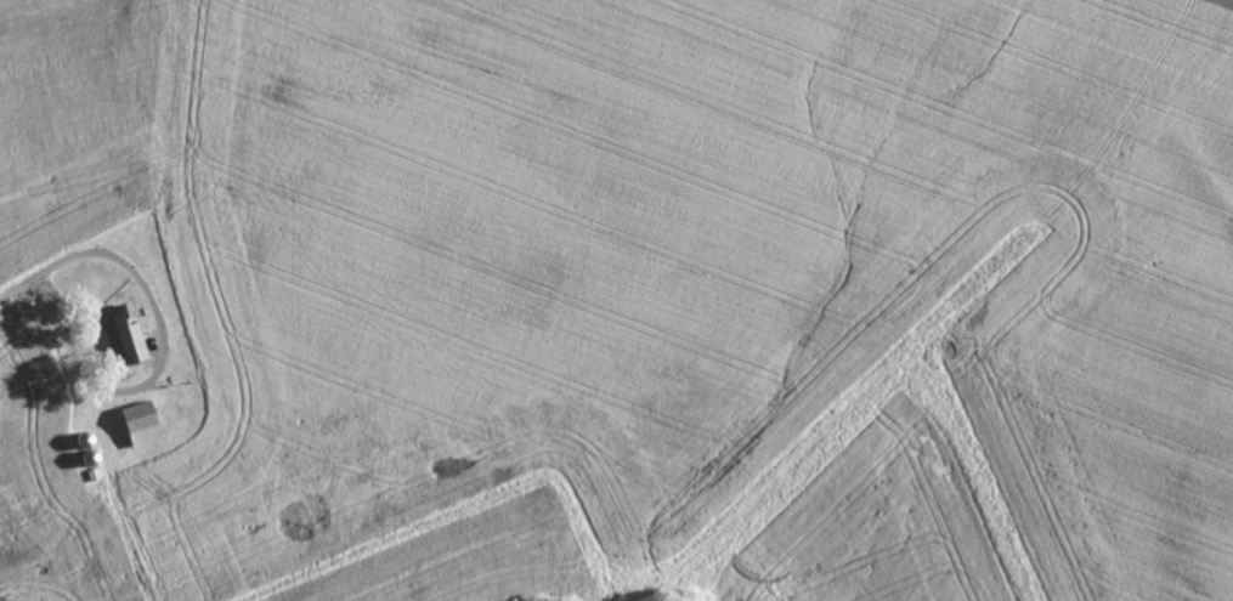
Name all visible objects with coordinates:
road: (10, 297)
building: (130, 336)
road: (162, 363)
building: (145, 425)

